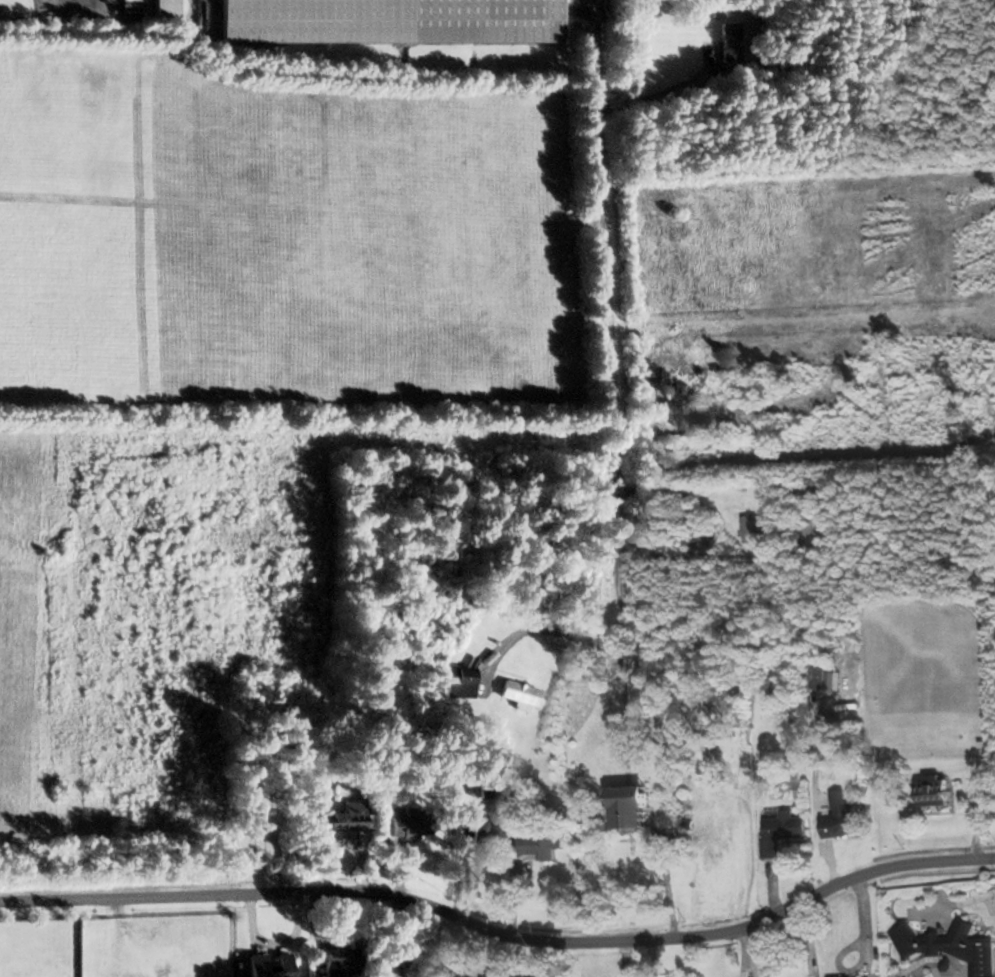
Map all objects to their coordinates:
building: (162, 8)
building: (388, 20)
building: (727, 41)
road: (605, 308)
building: (752, 528)
building: (818, 534)
road: (621, 623)
road: (538, 630)
road: (614, 634)
building: (458, 681)
building: (519, 693)
building: (933, 789)
building: (628, 807)
building: (340, 818)
building: (841, 822)
building: (408, 823)
building: (473, 830)
building: (781, 831)
building: (540, 846)
road: (501, 932)
road: (393, 938)
building: (951, 945)
building: (266, 965)
building: (335, 966)
building: (904, 975)
building: (865, 976)

